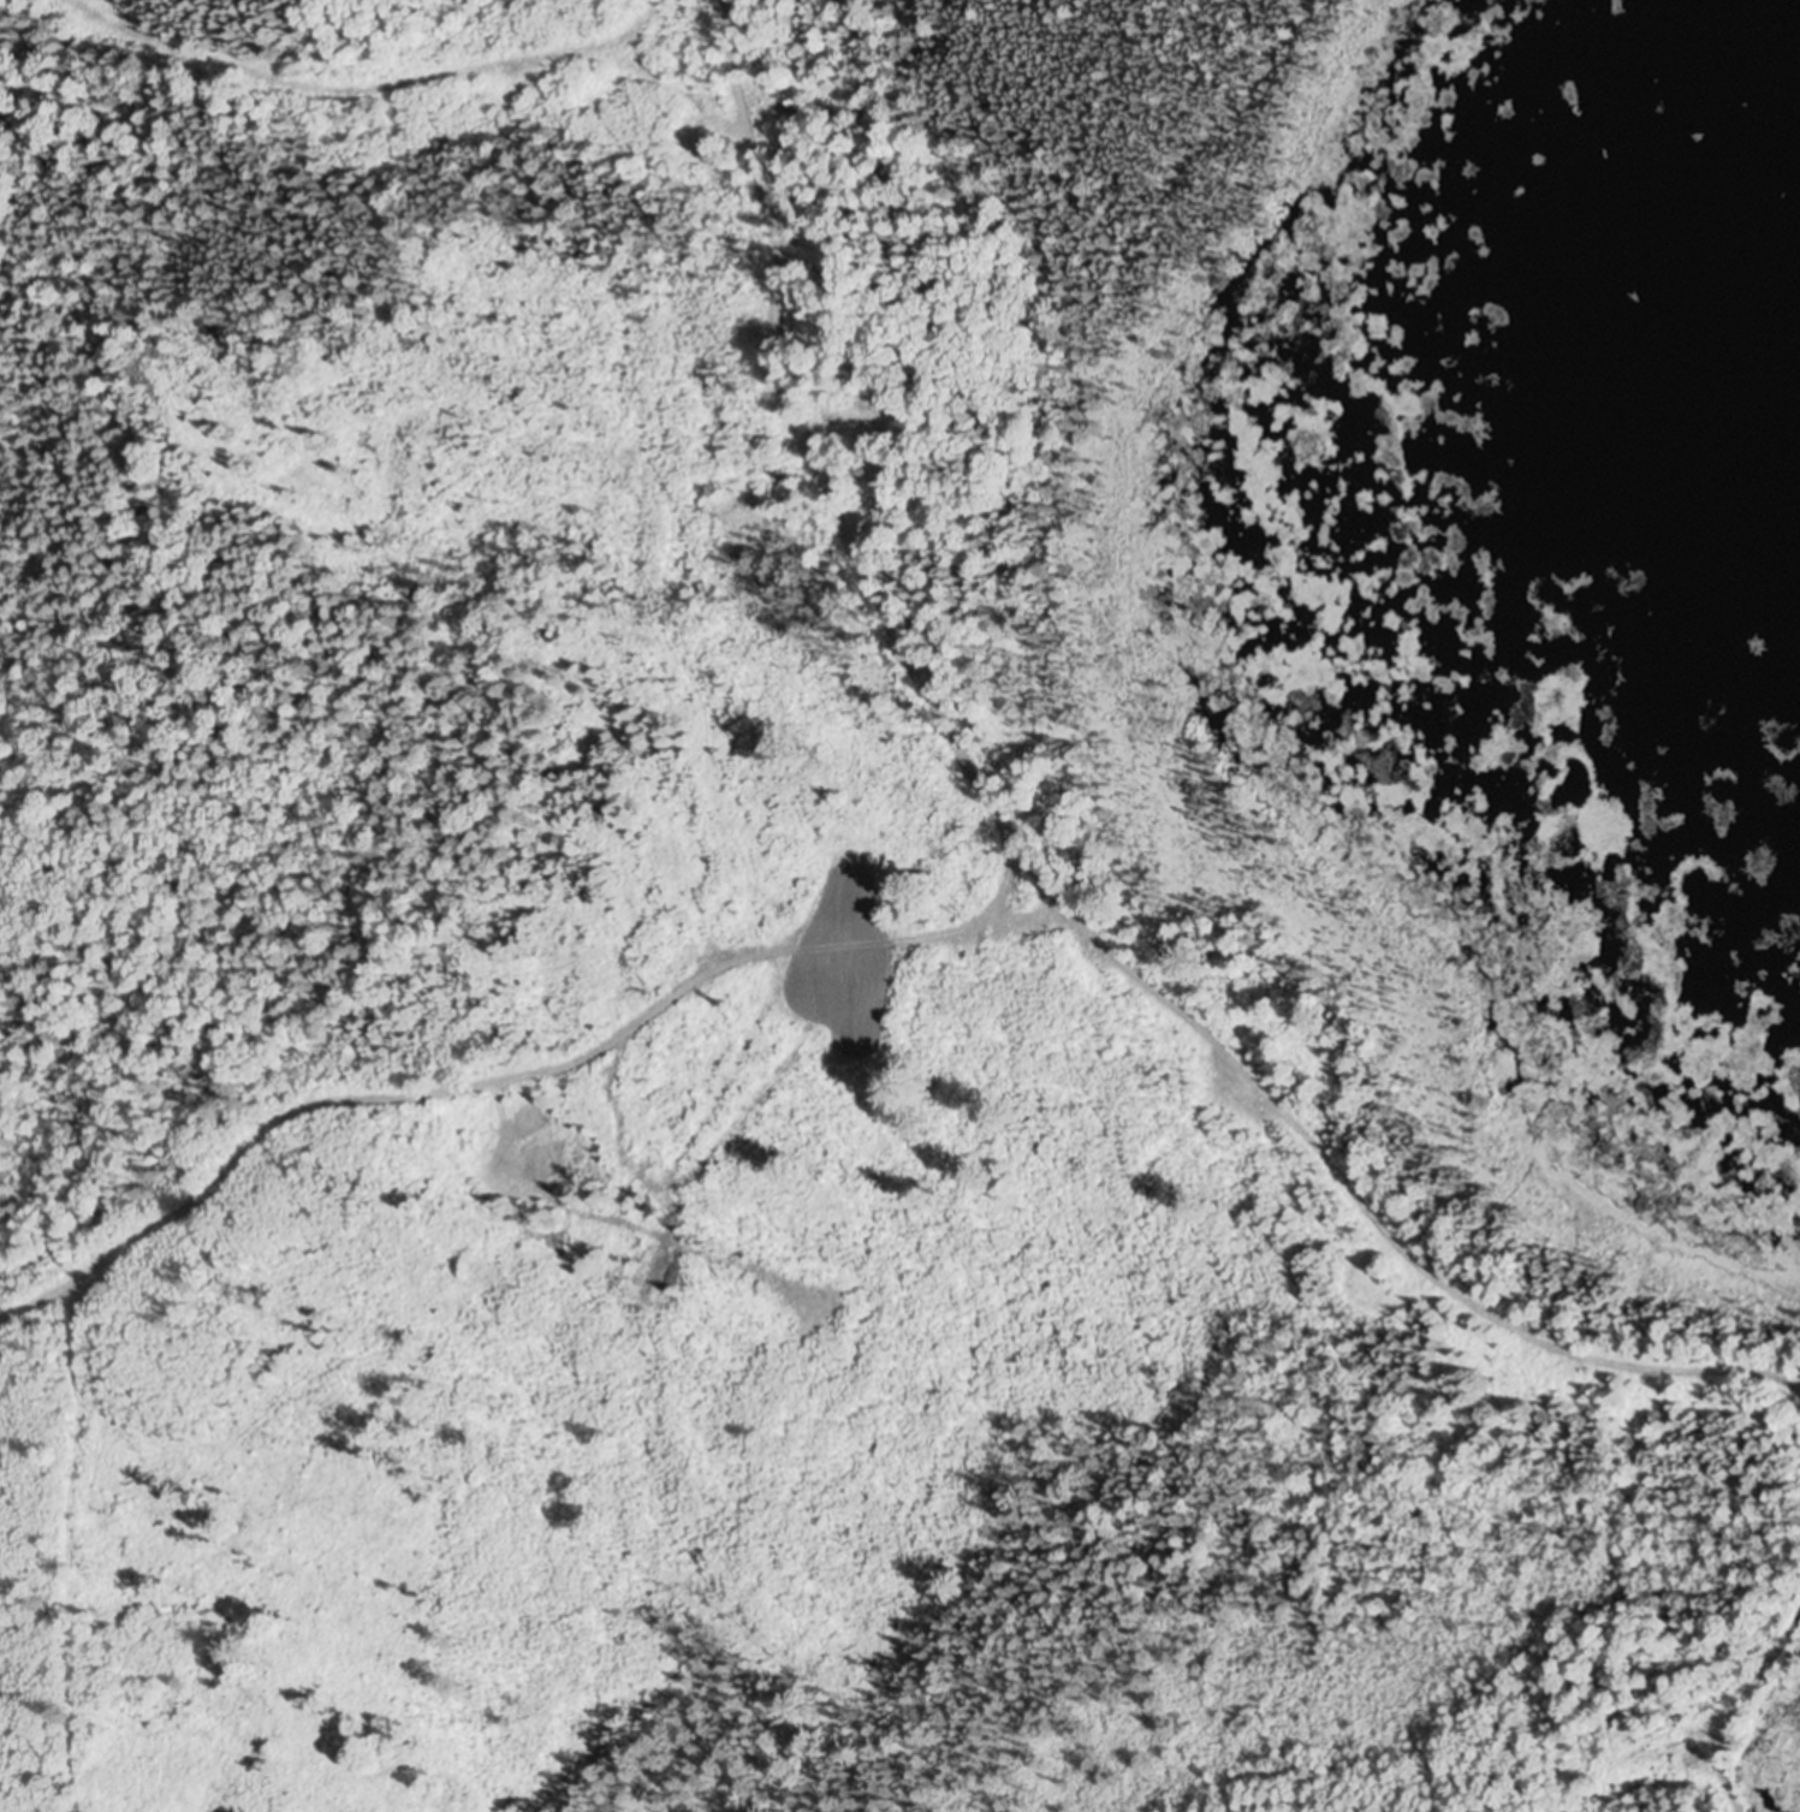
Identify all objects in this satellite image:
road: (807, 456)
road: (935, 895)
road: (1733, 1676)

